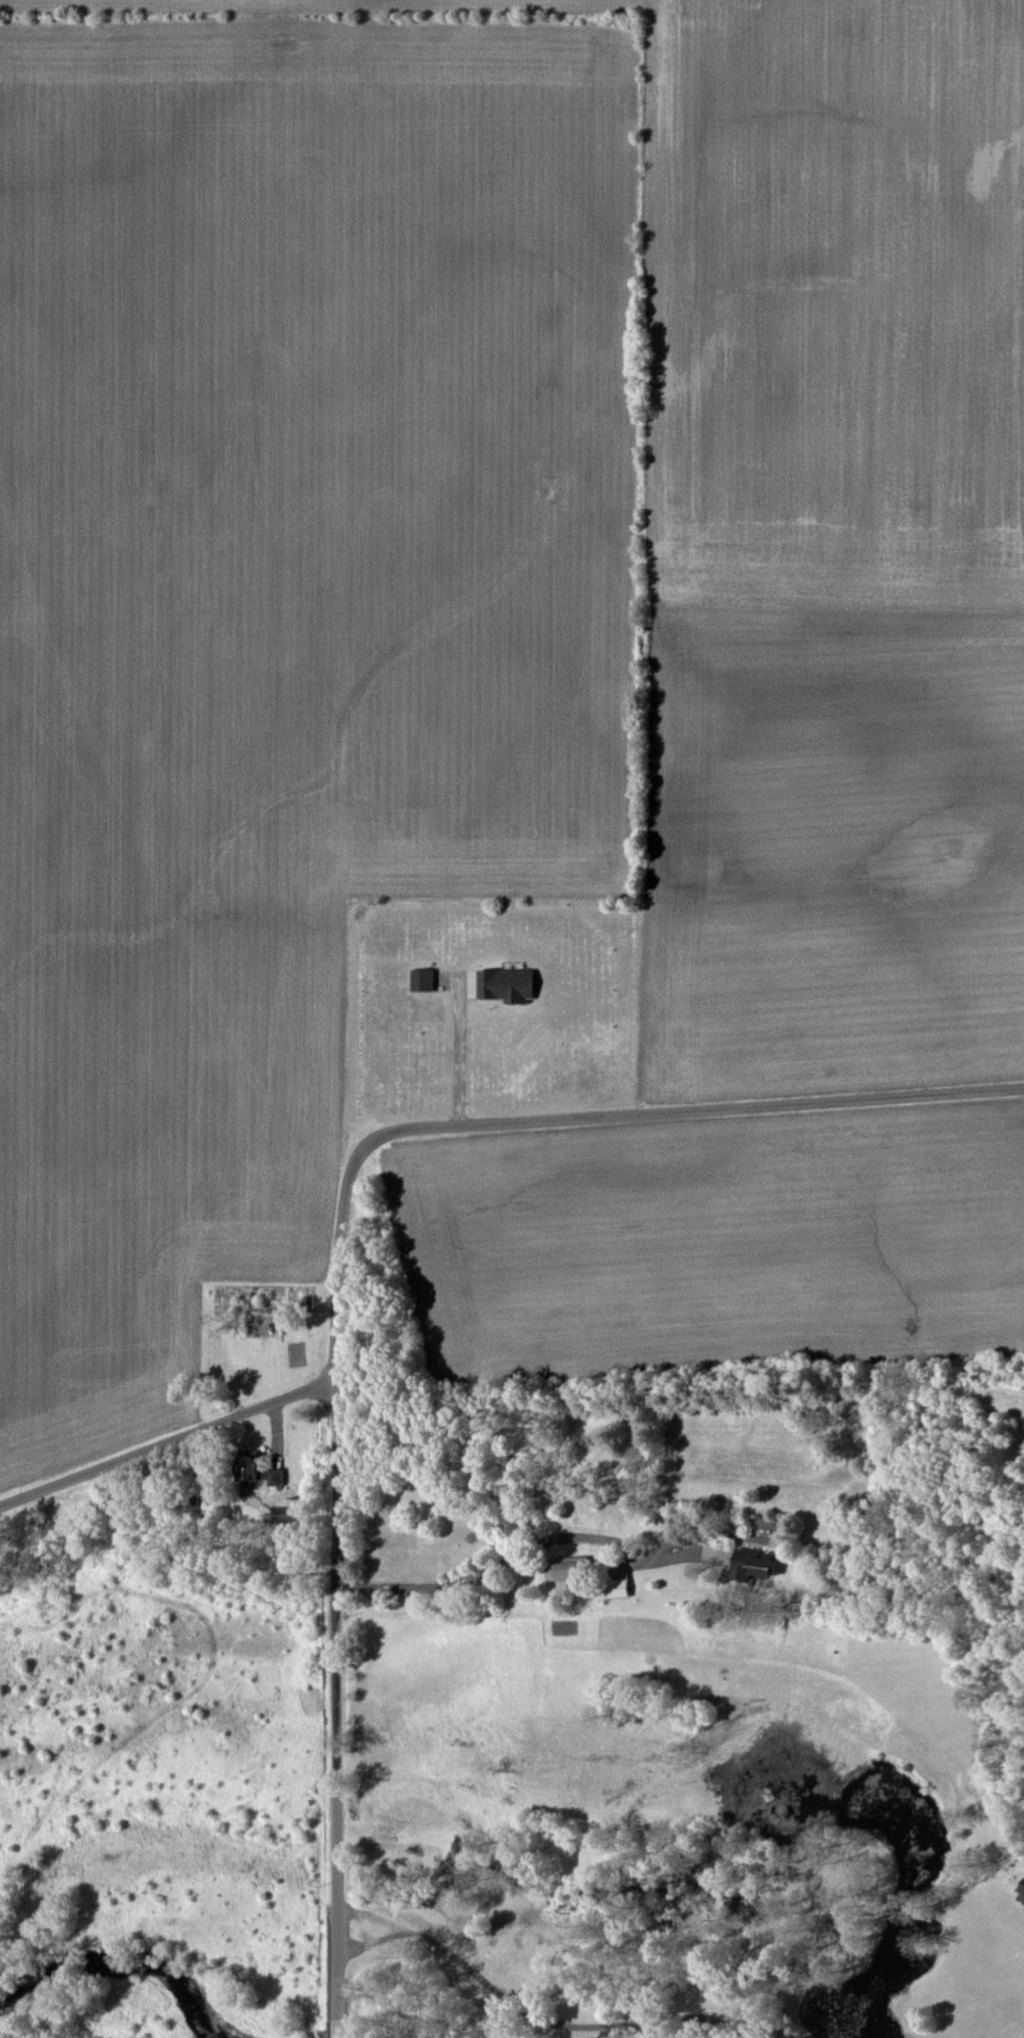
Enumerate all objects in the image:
building: (419, 981)
building: (503, 985)
road: (455, 1057)
road: (574, 1119)
road: (167, 1442)
road: (527, 1549)
building: (748, 1564)
building: (561, 1571)
building: (614, 1584)
road: (335, 1709)
building: (1021, 1887)
building: (1023, 1909)
road: (373, 1915)
road: (534, 2009)

